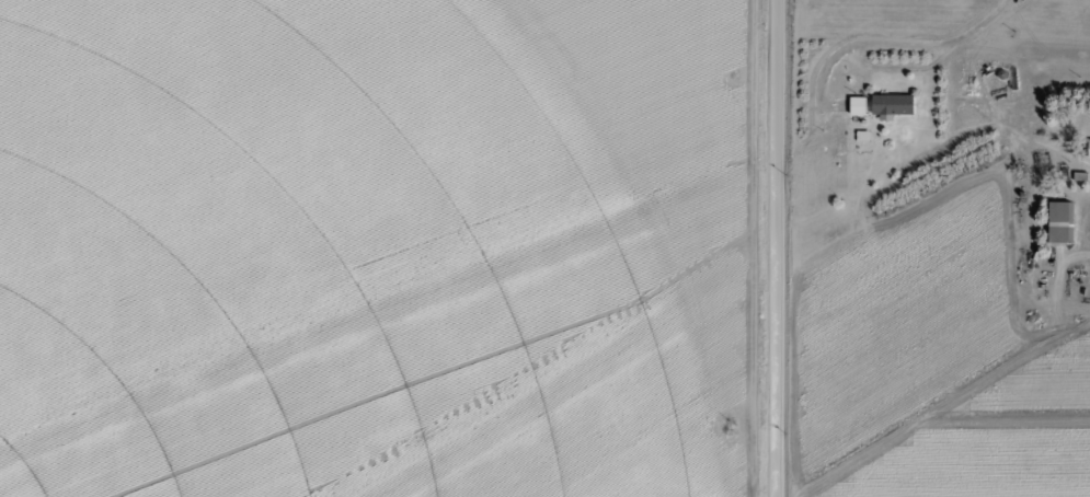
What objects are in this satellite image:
road: (985, 22)
road: (861, 59)
building: (891, 104)
building: (1059, 221)
road: (777, 248)
road: (1072, 256)

